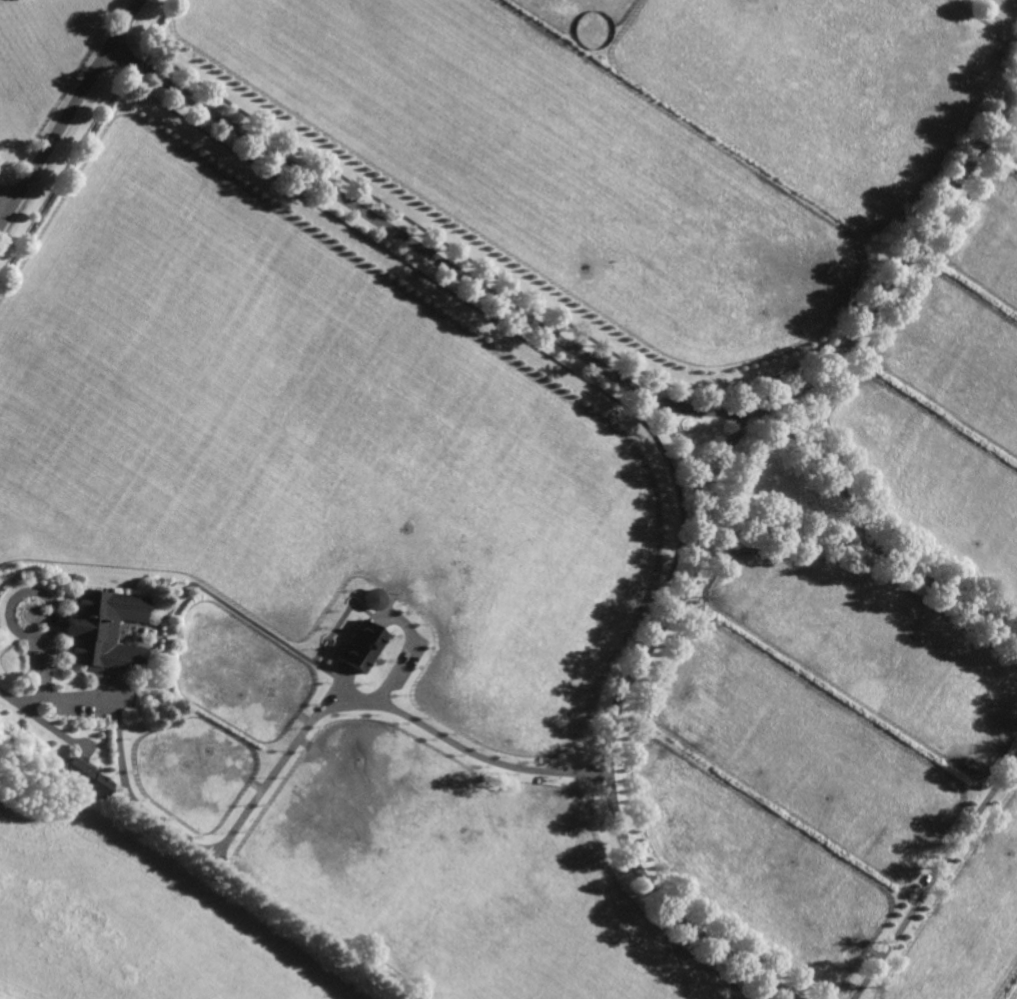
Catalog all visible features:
road: (69, 108)
road: (1, 215)
road: (1, 220)
road: (420, 250)
road: (702, 409)
road: (774, 528)
road: (862, 540)
building: (370, 599)
building: (101, 630)
building: (358, 646)
road: (605, 763)
building: (85, 774)
building: (446, 814)
road: (935, 876)
road: (664, 910)

